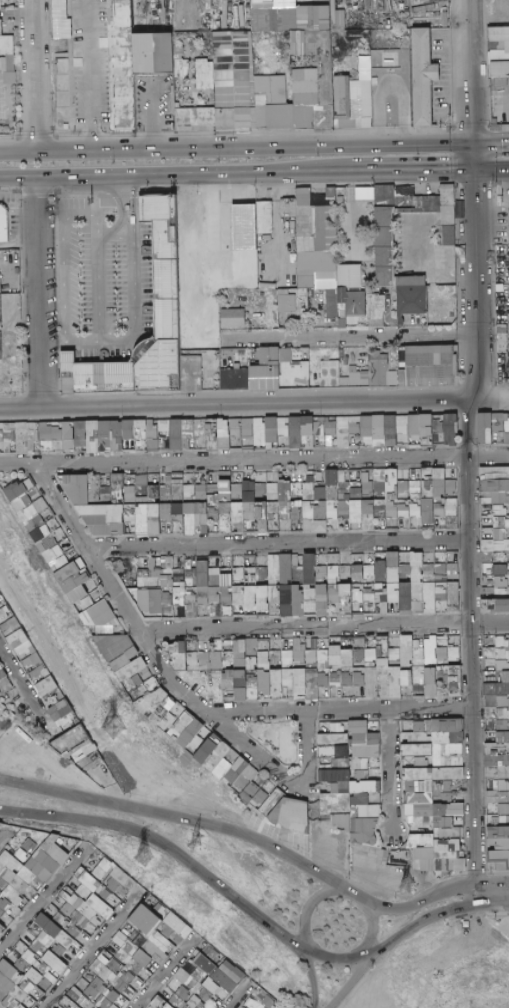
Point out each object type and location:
park: (5, 718)
power tower: (117, 729)
power tower: (191, 836)
power tower: (142, 857)
power tower: (404, 888)

